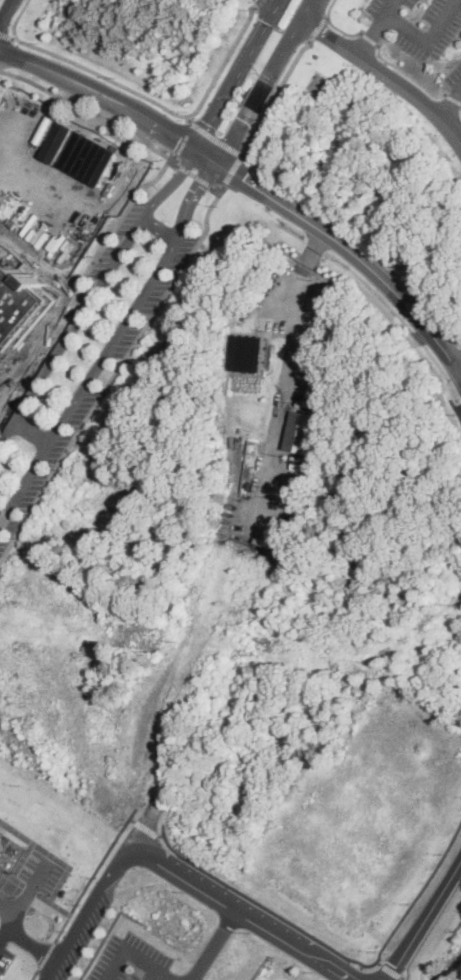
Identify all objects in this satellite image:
road: (276, 1)
road: (259, 3)
road: (389, 8)
road: (254, 9)
road: (306, 10)
road: (5, 11)
parking lot: (419, 24)
road: (334, 25)
road: (317, 28)
road: (260, 34)
road: (5, 35)
road: (13, 36)
road: (371, 36)
road: (370, 40)
road: (428, 41)
road: (1, 70)
road: (47, 70)
road: (1, 72)
road: (385, 75)
road: (409, 76)
parking lot: (455, 79)
road: (259, 92)
road: (142, 95)
road: (273, 98)
road: (453, 99)
road: (450, 102)
road: (218, 109)
road: (93, 114)
road: (190, 118)
road: (156, 126)
road: (185, 138)
road: (216, 138)
building: (79, 152)
road: (244, 154)
road: (184, 168)
road: (233, 169)
road: (193, 173)
road: (203, 180)
road: (215, 189)
road: (160, 231)
road: (352, 252)
road: (83, 276)
road: (95, 295)
parking lot: (71, 313)
road: (113, 346)
building: (249, 352)
parking lot: (108, 373)
road: (117, 374)
road: (293, 376)
road: (455, 408)
road: (459, 408)
building: (302, 431)
road: (33, 433)
road: (4, 521)
road: (15, 527)
parking lot: (3, 546)
road: (134, 819)
road: (148, 828)
road: (163, 835)
building: (10, 854)
road: (53, 856)
road: (102, 862)
road: (17, 868)
parking lot: (41, 874)
road: (24, 899)
road: (88, 912)
road: (245, 912)
road: (66, 914)
road: (426, 920)
parking lot: (86, 933)
road: (216, 944)
road: (30, 947)
road: (332, 948)
road: (45, 955)
parking lot: (132, 960)
road: (113, 963)
road: (151, 963)
road: (391, 968)
road: (150, 973)
road: (33, 974)
road: (406, 976)

